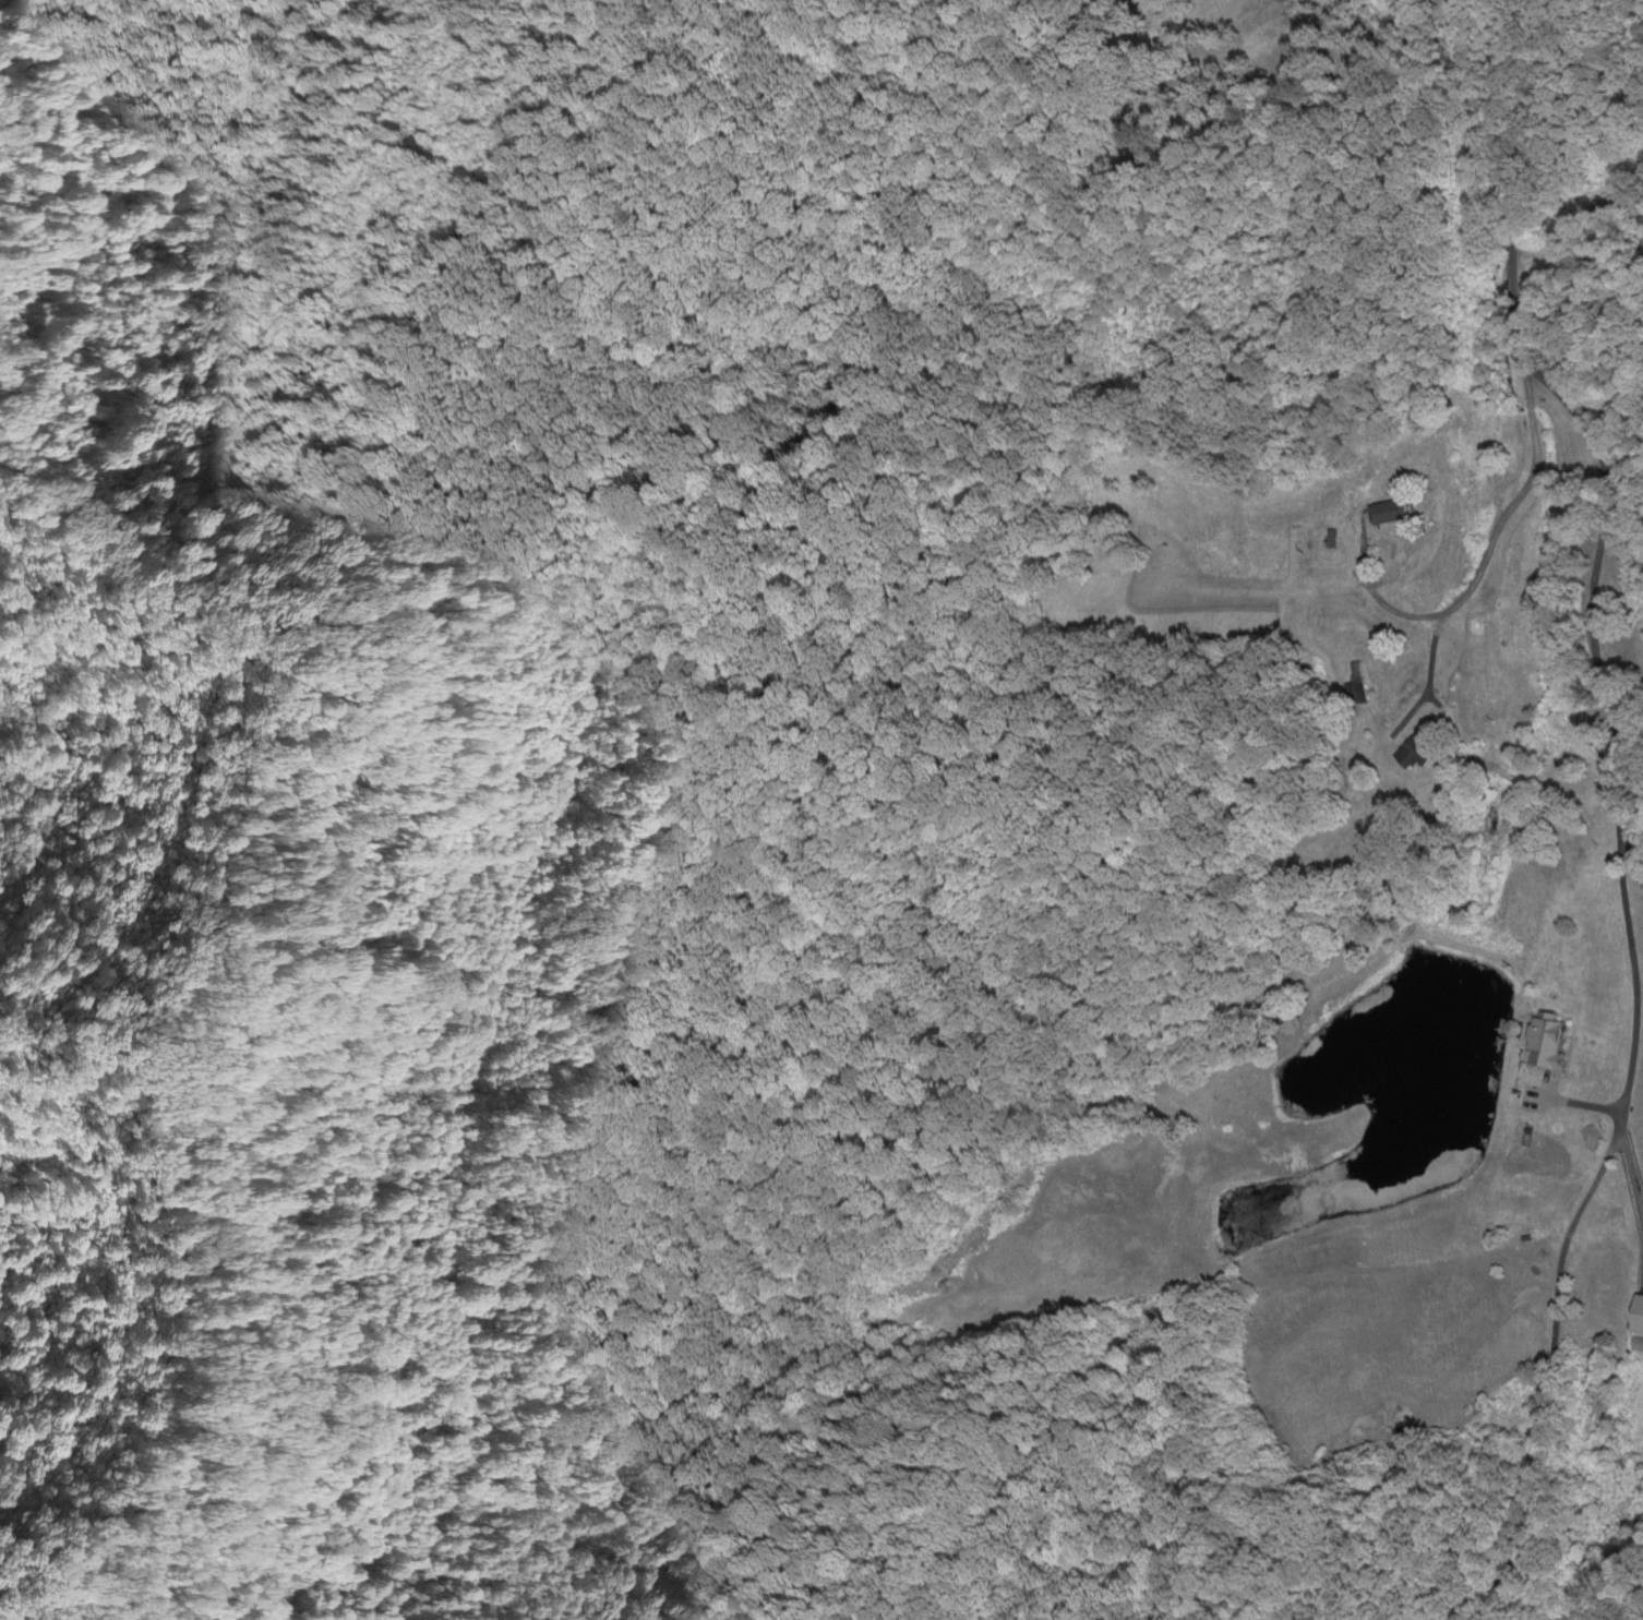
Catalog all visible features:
building: (1387, 513)
road: (1533, 585)
building: (1360, 683)
building: (1414, 754)
building: (1510, 1029)
building: (1545, 1045)
building: (1635, 1317)
road: (1544, 1387)

